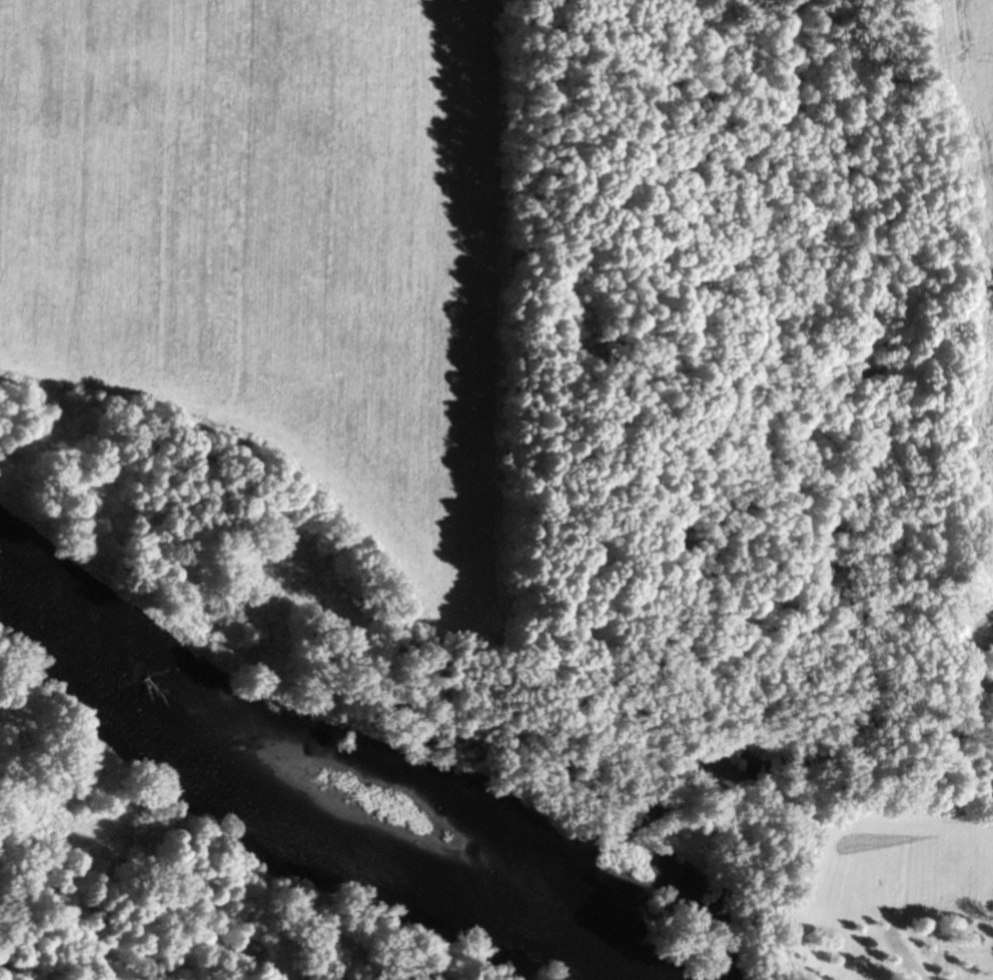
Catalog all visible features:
building: (931, 69)
road: (275, 200)
river: (296, 784)

